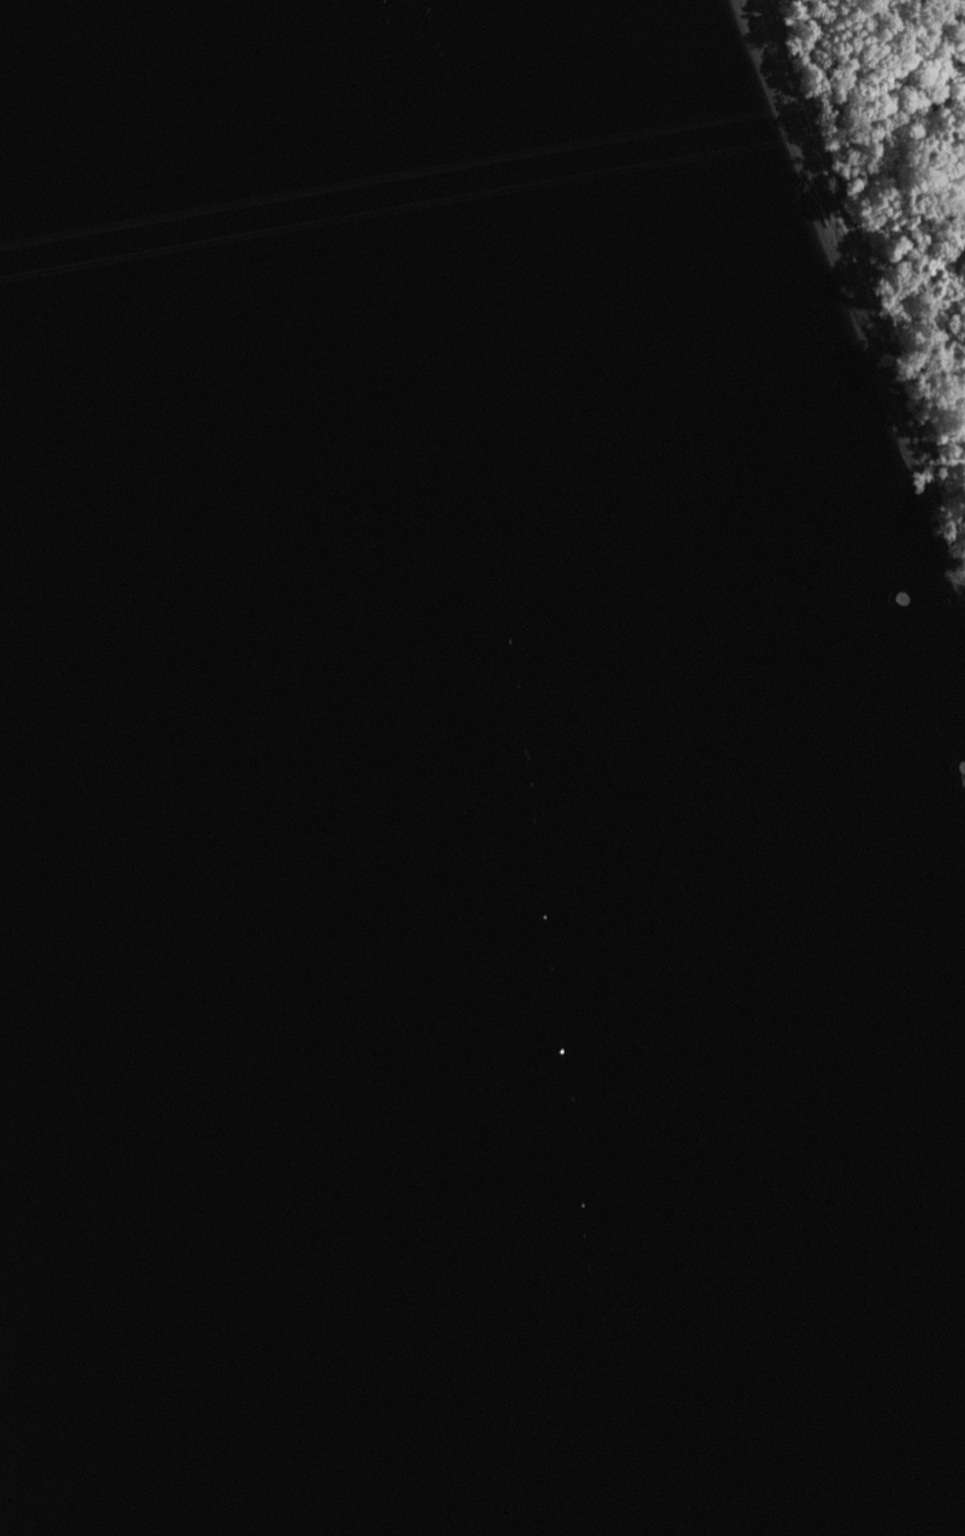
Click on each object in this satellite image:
river: (371, 758)

